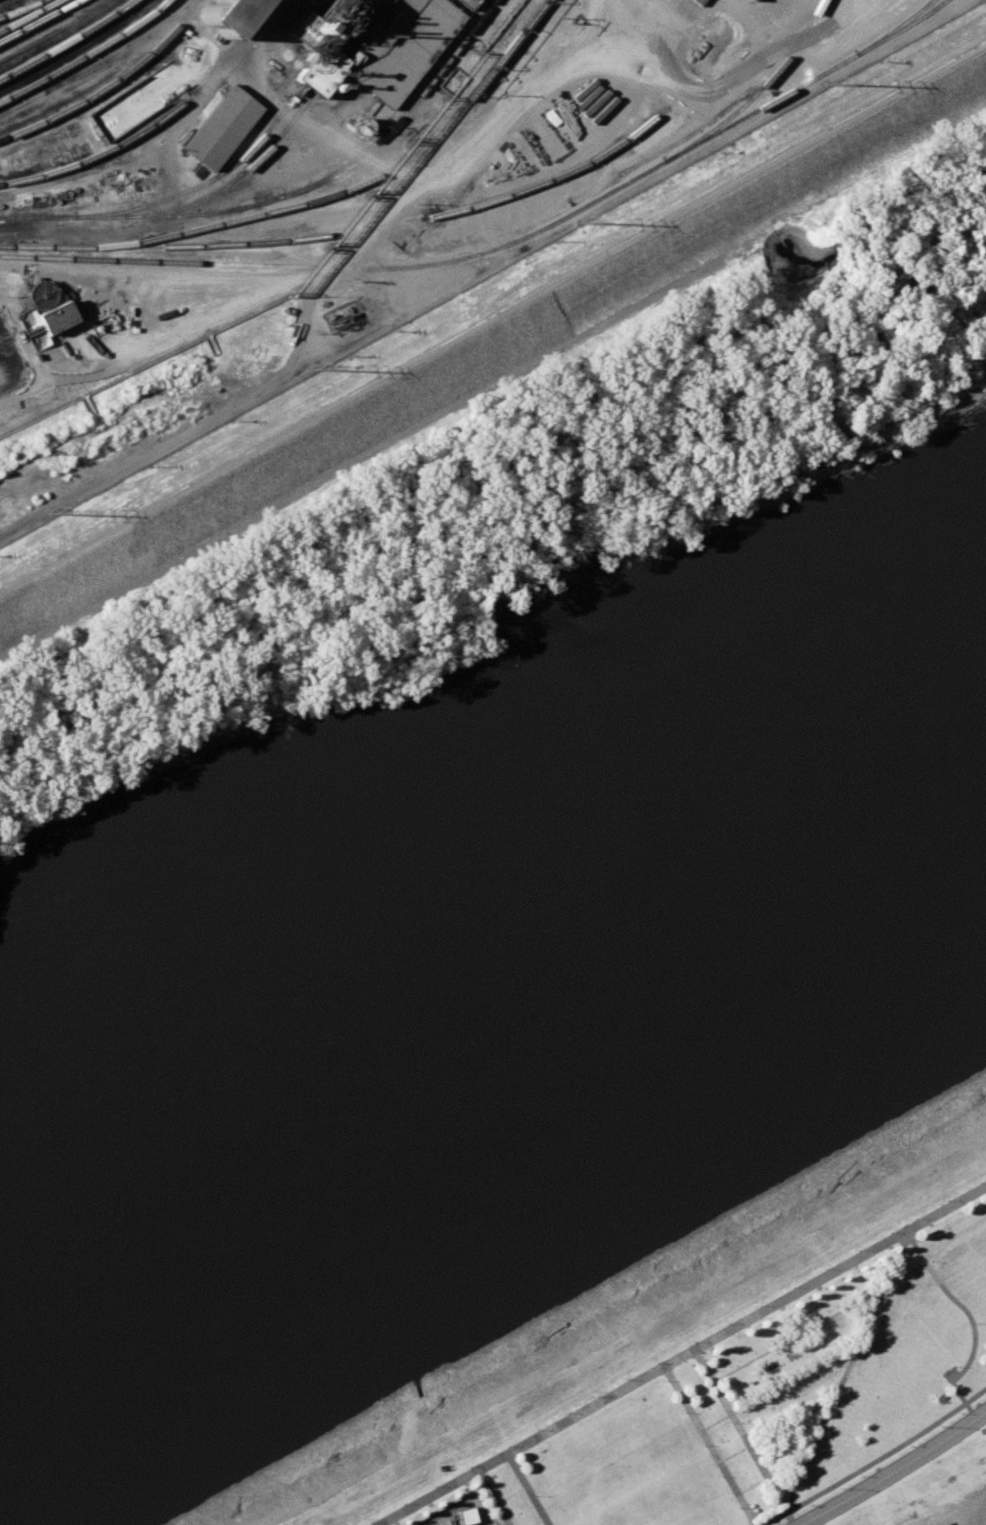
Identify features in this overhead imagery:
building: (754, 0)
railway: (20, 9)
railway: (18, 11)
road: (615, 14)
railway: (30, 16)
building: (227, 16)
silo: (227, 16)
railway: (41, 21)
railway: (48, 26)
railway: (895, 27)
railway: (69, 41)
building: (371, 44)
railway: (87, 54)
railway: (111, 85)
railway: (756, 93)
road: (517, 104)
railway: (157, 122)
building: (224, 128)
railway: (250, 149)
railway: (344, 168)
railway: (231, 181)
railway: (353, 188)
road: (556, 216)
railway: (341, 234)
railway: (505, 247)
building: (54, 317)
road: (492, 317)
river: (493, 1033)
street lamp: (978, 1181)
street lamp: (946, 1200)
street lamp: (913, 1218)
street lamp: (888, 1232)
street lamp: (857, 1250)
street lamp: (929, 1260)
road: (890, 1268)
street lamp: (823, 1269)
street lamp: (791, 1286)
street lamp: (887, 1291)
street lamp: (758, 1305)
street lamp: (975, 1322)
street lamp: (726, 1323)
street lamp: (693, 1341)
road: (781, 1342)
street lamp: (862, 1346)
road: (683, 1354)
street lamp: (703, 1359)
street lamp: (655, 1362)
street lamp: (956, 1366)
street lamp: (626, 1379)
street lamp: (665, 1380)
road: (776, 1386)
street lamp: (720, 1392)
park: (750, 1394)
street lamp: (595, 1396)
street lamp: (835, 1403)
street lamp: (566, 1412)
street lamp: (682, 1412)
street lamp: (958, 1413)
street lamp: (738, 1423)
street lamp: (938, 1425)
street lamp: (535, 1429)
road: (736, 1430)
road: (772, 1430)
street lamp: (700, 1445)
street lamp: (907, 1445)
street lamp: (506, 1446)
road: (705, 1446)
street lamp: (755, 1454)
road: (873, 1458)
street lamp: (810, 1459)
street lamp: (517, 1465)
street lamp: (469, 1467)
road: (892, 1469)
road: (769, 1473)
street lamp: (718, 1476)
street lamp: (858, 1476)
street lamp: (435, 1485)
street lamp: (478, 1486)
street lamp: (773, 1486)
street lamp: (837, 1489)
road: (524, 1490)
street lamp: (534, 1495)
road: (507, 1496)
road: (488, 1498)
street lamp: (403, 1503)
street lamp: (807, 1503)
street lamp: (736, 1508)
building: (461, 1517)
street lamp: (496, 1517)
street lamp: (370, 1522)
road: (535, 1522)

